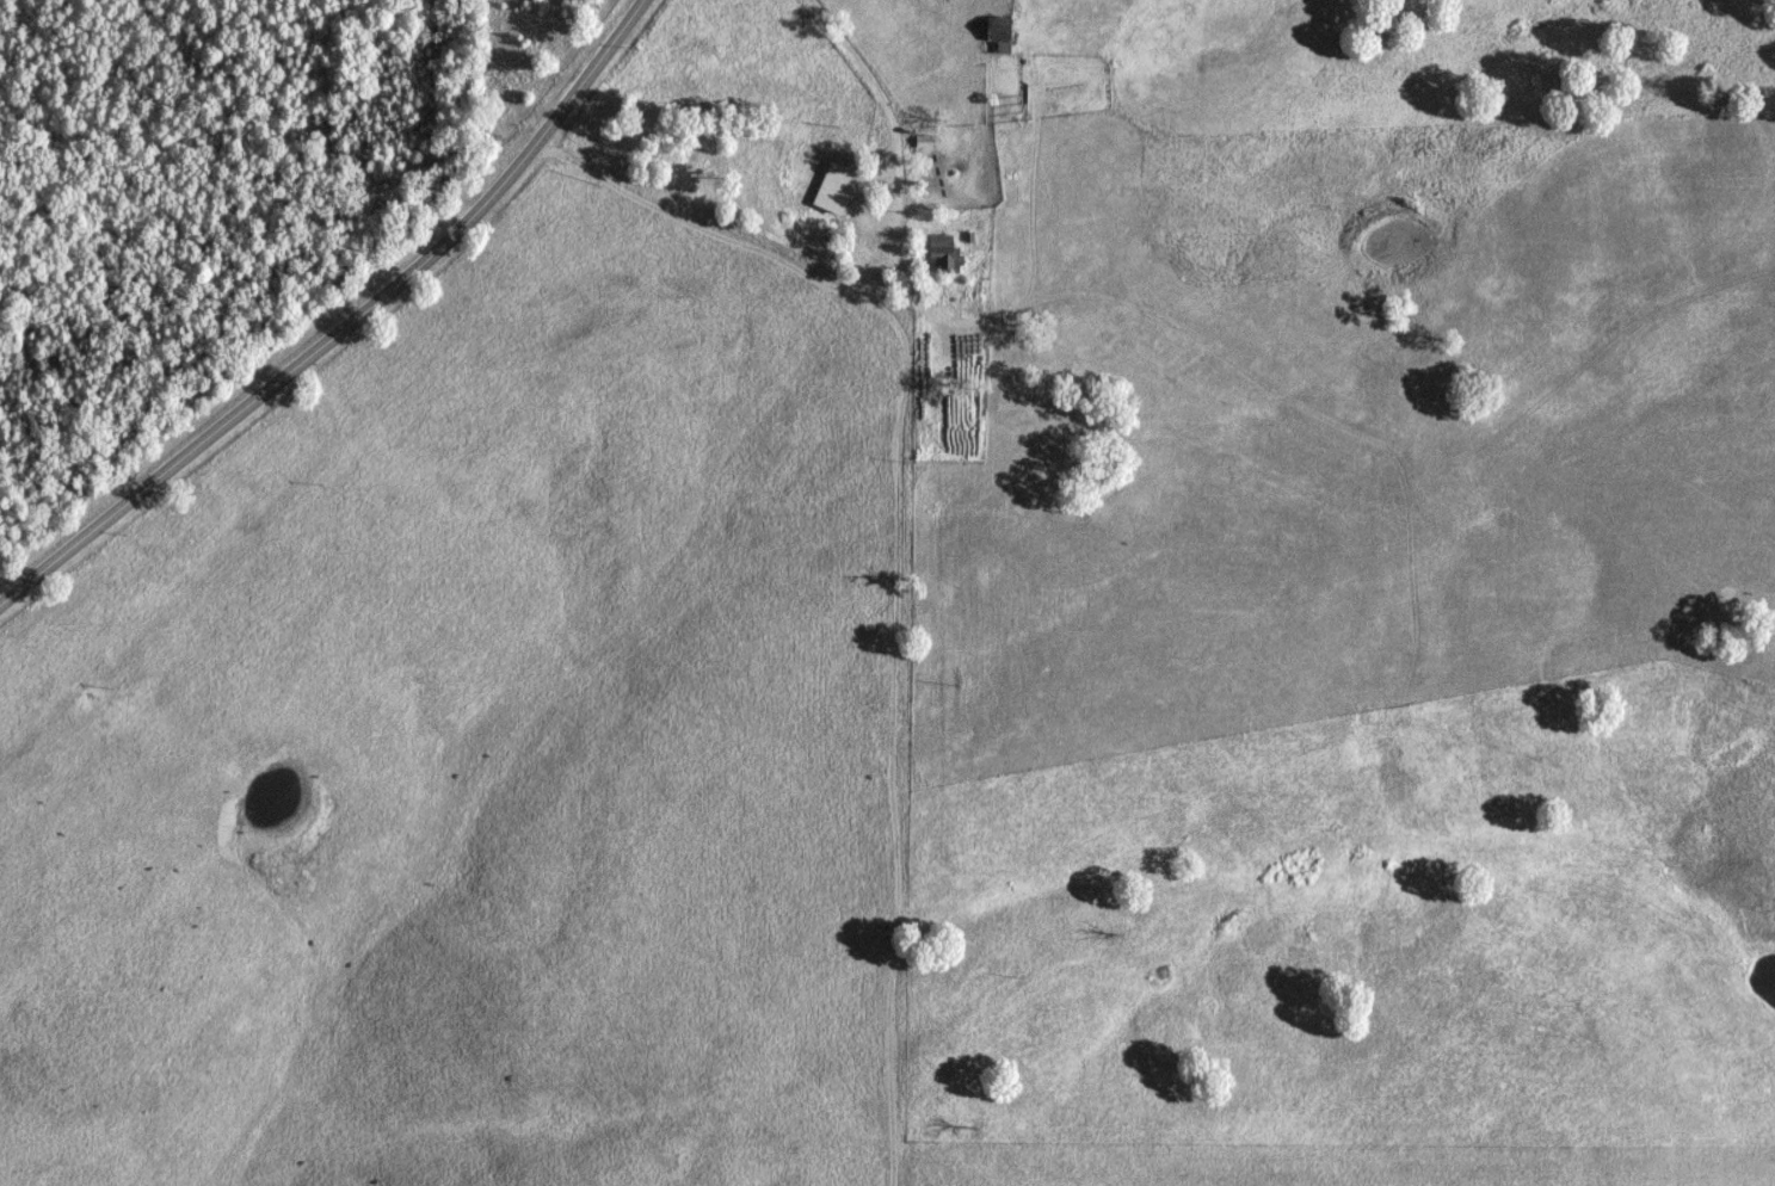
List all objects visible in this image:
road: (890, 118)
building: (837, 189)
road: (322, 307)

